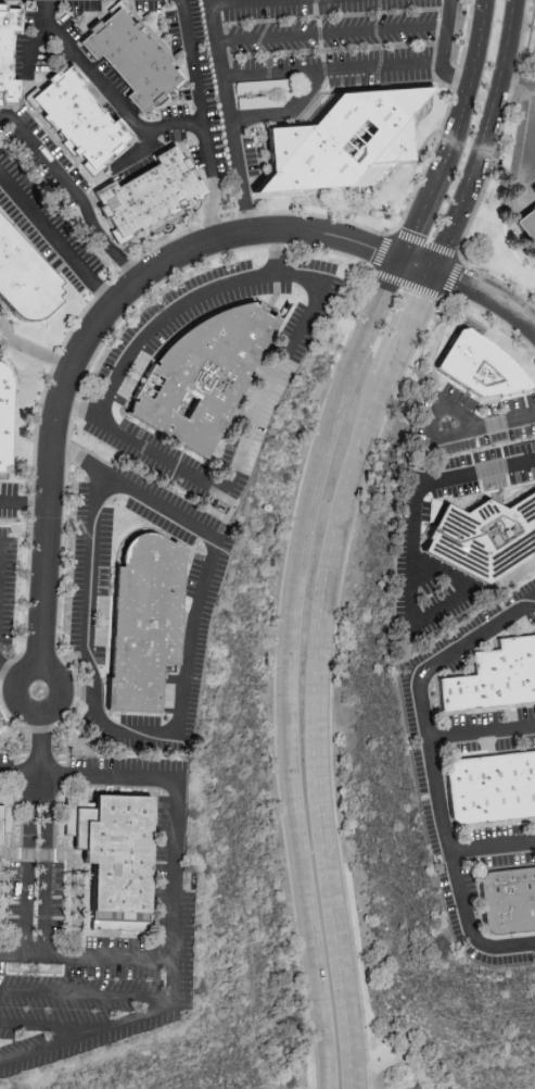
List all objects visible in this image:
road: (235, 1)
road: (332, 33)
road: (29, 50)
road: (444, 51)
building: (8, 53)
building: (132, 60)
road: (333, 68)
road: (517, 76)
road: (200, 88)
road: (105, 91)
road: (288, 113)
road: (231, 117)
building: (79, 121)
road: (174, 125)
road: (483, 138)
building: (343, 140)
road: (530, 152)
road: (43, 159)
road: (486, 175)
building: (149, 196)
road: (209, 210)
building: (527, 227)
road: (55, 240)
road: (109, 246)
road: (276, 253)
road: (417, 265)
building: (25, 277)
road: (485, 295)
road: (532, 322)
road: (405, 324)
road: (95, 327)
road: (2, 333)
road: (37, 352)
building: (484, 365)
building: (207, 374)
road: (82, 409)
building: (4, 415)
road: (505, 420)
road: (430, 424)
road: (79, 459)
road: (176, 470)
road: (437, 481)
road: (24, 504)
road: (203, 530)
road: (311, 530)
building: (487, 536)
road: (0, 550)
road: (443, 609)
building: (149, 621)
road: (36, 663)
road: (8, 671)
building: (494, 679)
road: (79, 692)
road: (317, 731)
road: (483, 734)
road: (38, 747)
road: (436, 772)
building: (492, 788)
building: (7, 815)
road: (493, 847)
building: (117, 856)
road: (26, 864)
road: (47, 864)
road: (176, 896)
building: (508, 901)
road: (87, 956)
road: (87, 993)
road: (60, 1026)

